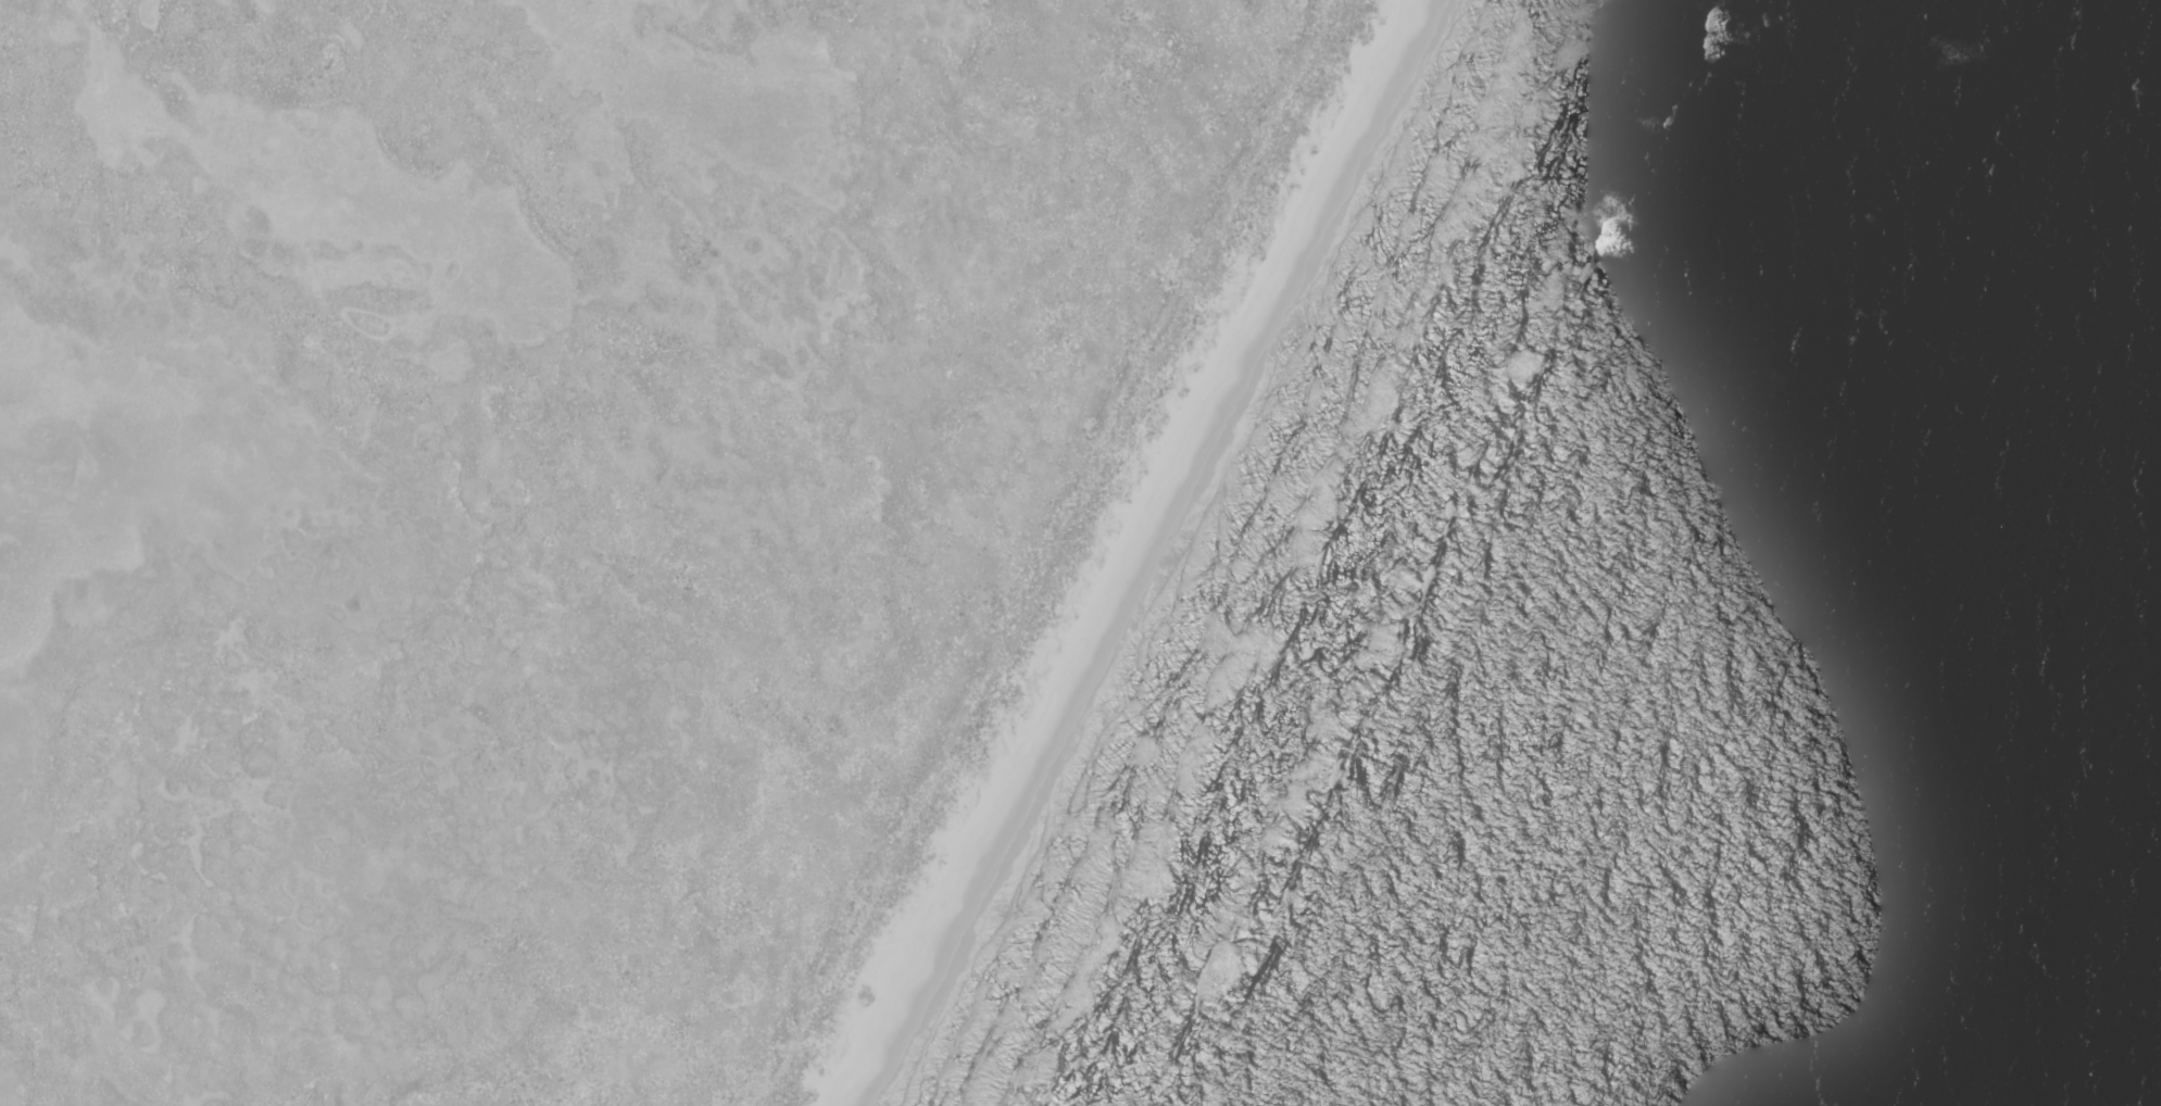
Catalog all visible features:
park: (768, 516)

